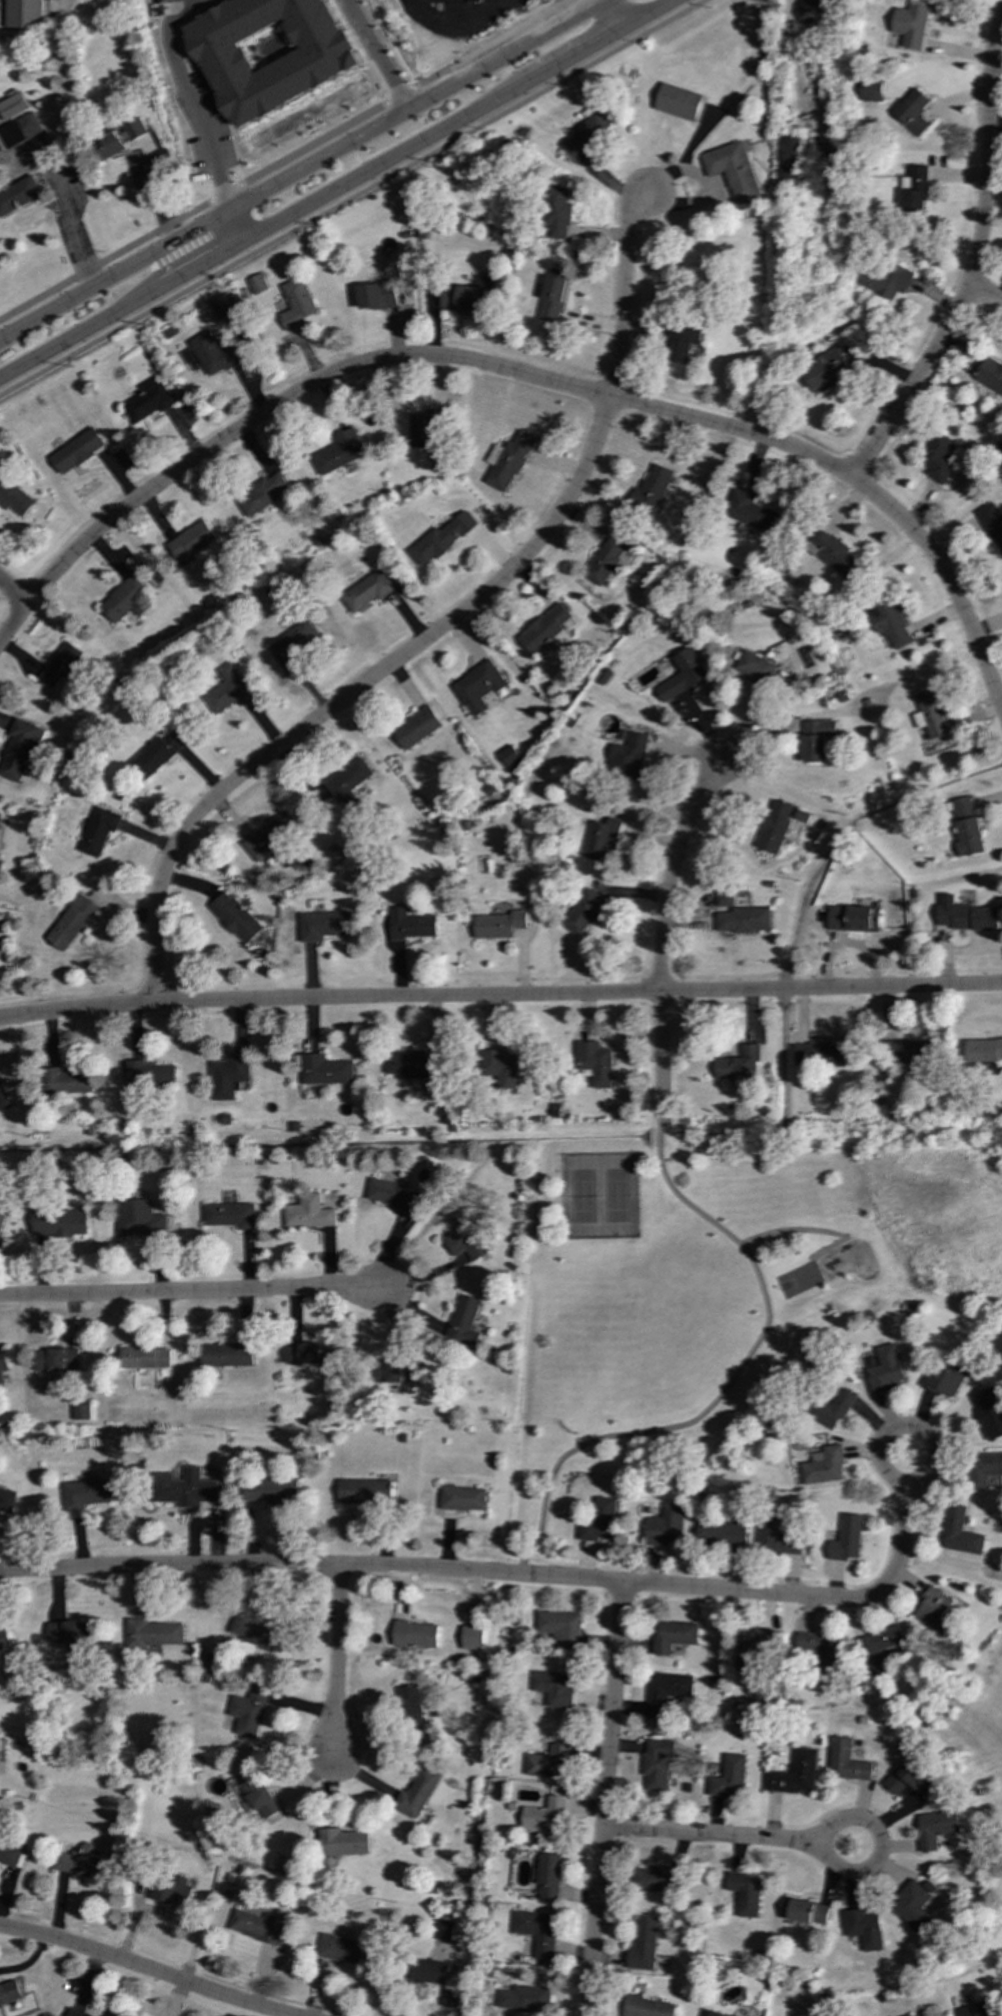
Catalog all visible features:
building: (812, 10)
road: (611, 13)
building: (24, 14)
road: (461, 15)
building: (910, 24)
road: (461, 30)
building: (270, 52)
road: (375, 54)
building: (873, 91)
building: (677, 102)
road: (195, 104)
road: (414, 104)
building: (12, 106)
building: (912, 111)
building: (18, 131)
building: (132, 131)
building: (584, 135)
building: (109, 146)
road: (282, 159)
building: (788, 161)
building: (732, 170)
road: (334, 190)
building: (914, 190)
building: (18, 195)
road: (351, 197)
building: (556, 212)
road: (237, 225)
road: (72, 230)
road: (973, 261)
road: (114, 273)
building: (886, 280)
building: (255, 284)
road: (623, 290)
road: (985, 293)
building: (554, 295)
building: (375, 296)
building: (462, 298)
building: (294, 303)
building: (221, 307)
building: (682, 343)
building: (213, 354)
building: (826, 372)
building: (990, 374)
road: (526, 375)
building: (146, 400)
building: (424, 427)
building: (76, 451)
building: (338, 452)
building: (937, 458)
building: (507, 461)
building: (651, 489)
building: (260, 495)
building: (13, 498)
building: (750, 511)
building: (992, 524)
building: (440, 539)
building: (190, 542)
building: (831, 552)
building: (607, 560)
building: (367, 591)
road: (12, 593)
building: (124, 600)
building: (888, 622)
building: (544, 628)
building: (293, 643)
building: (60, 666)
building: (753, 668)
building: (681, 676)
building: (602, 677)
building: (477, 687)
building: (227, 690)
road: (354, 691)
building: (929, 714)
building: (415, 728)
building: (816, 739)
building: (19, 750)
building: (157, 753)
building: (508, 756)
building: (628, 756)
building: (347, 781)
building: (774, 826)
building: (965, 827)
building: (98, 830)
building: (269, 835)
building: (600, 838)
road: (670, 870)
building: (724, 897)
building: (583, 913)
building: (968, 917)
building: (235, 918)
building: (853, 918)
building: (743, 920)
building: (71, 922)
building: (410, 924)
building: (324, 925)
building: (499, 925)
road: (500, 998)
building: (983, 1050)
building: (908, 1052)
building: (824, 1054)
road: (659, 1058)
building: (594, 1064)
building: (738, 1064)
building: (412, 1065)
building: (498, 1068)
building: (325, 1070)
building: (149, 1073)
building: (228, 1076)
building: (67, 1081)
building: (3, 1098)
building: (391, 1193)
building: (309, 1213)
building: (229, 1215)
building: (140, 1218)
building: (1, 1219)
building: (60, 1222)
road: (811, 1230)
building: (463, 1238)
road: (194, 1292)
building: (463, 1323)
building: (227, 1355)
building: (312, 1355)
building: (145, 1358)
building: (55, 1360)
building: (2, 1365)
building: (885, 1369)
building: (945, 1378)
road: (727, 1385)
building: (831, 1408)
building: (81, 1412)
building: (988, 1412)
road: (886, 1438)
building: (823, 1466)
building: (983, 1468)
building: (184, 1488)
building: (271, 1489)
building: (364, 1491)
building: (85, 1494)
building: (462, 1498)
building: (7, 1500)
building: (599, 1521)
building: (664, 1526)
building: (959, 1532)
building: (721, 1535)
building: (777, 1539)
building: (846, 1539)
road: (497, 1573)
building: (934, 1611)
building: (560, 1627)
building: (71, 1633)
building: (153, 1633)
building: (255, 1634)
building: (414, 1634)
building: (672, 1636)
building: (4, 1639)
building: (751, 1648)
building: (818, 1648)
building: (877, 1649)
road: (336, 1659)
building: (553, 1688)
building: (666, 1691)
building: (411, 1707)
building: (248, 1711)
building: (845, 1761)
building: (657, 1762)
building: (548, 1763)
building: (794, 1774)
building: (728, 1777)
building: (909, 1779)
building: (416, 1793)
building: (259, 1796)
road: (603, 1798)
building: (544, 1816)
road: (866, 1823)
building: (934, 1828)
road: (711, 1836)
building: (342, 1842)
building: (9, 1853)
building: (81, 1863)
building: (549, 1876)
building: (655, 1878)
building: (172, 1890)
building: (744, 1893)
building: (911, 1906)
building: (804, 1911)
building: (258, 1926)
building: (863, 1928)
building: (444, 1930)
building: (537, 1931)
building: (643, 1945)
building: (339, 1950)
road: (27, 1961)
road: (140, 1969)
building: (427, 1971)
building: (9, 1993)
building: (524, 1998)
building: (449, 1999)
building: (647, 2007)
building: (978, 2009)
building: (74, 2014)
building: (716, 2014)
building: (910, 2015)

